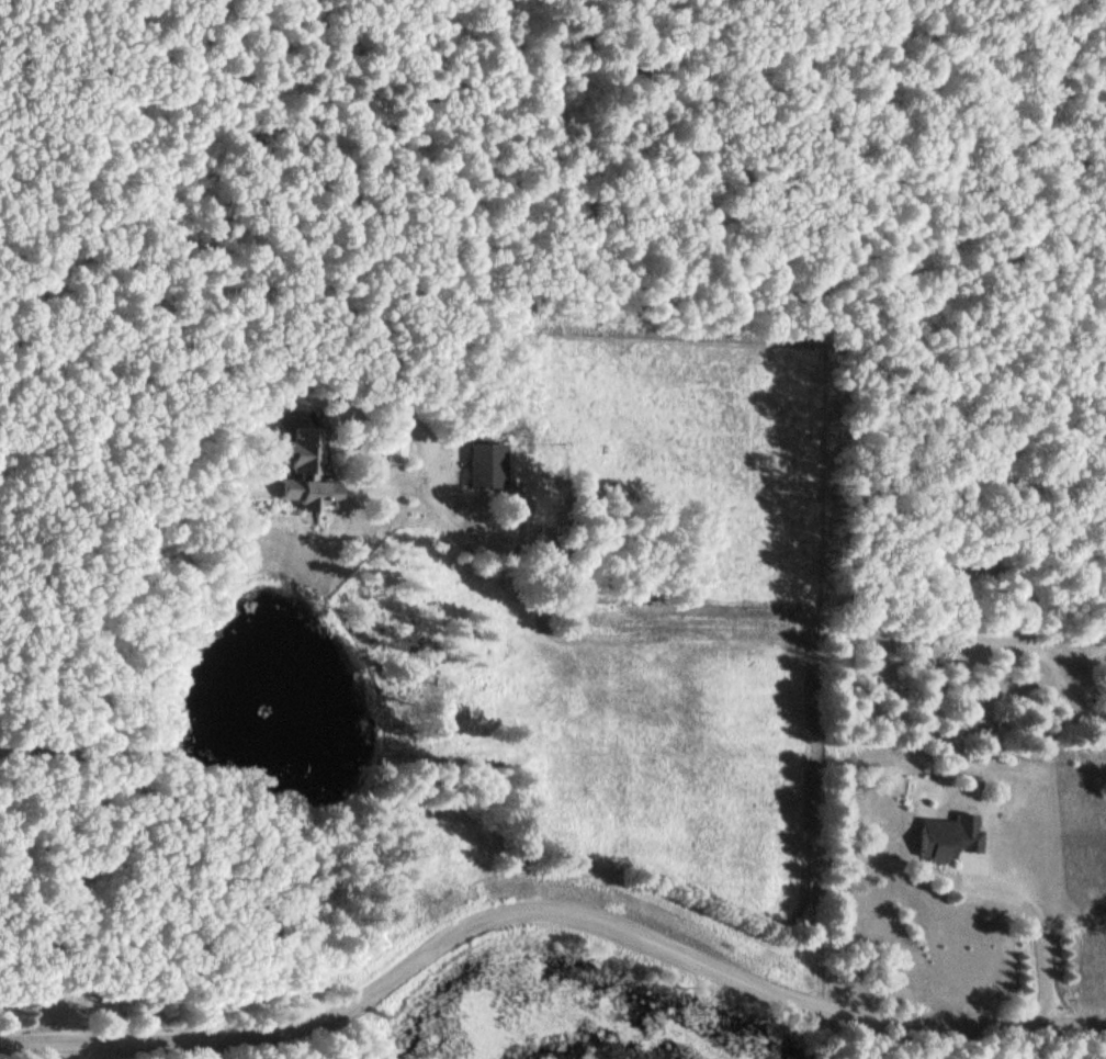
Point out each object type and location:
building: (394, 442)
building: (487, 463)
building: (303, 467)
road: (207, 495)
building: (992, 547)
road: (968, 576)
road: (880, 635)
road: (555, 650)
road: (659, 709)
road: (46, 764)
road: (1028, 779)
building: (948, 835)
road: (990, 885)
road: (545, 908)
road: (1042, 962)
road: (69, 1049)
road: (194, 1049)

